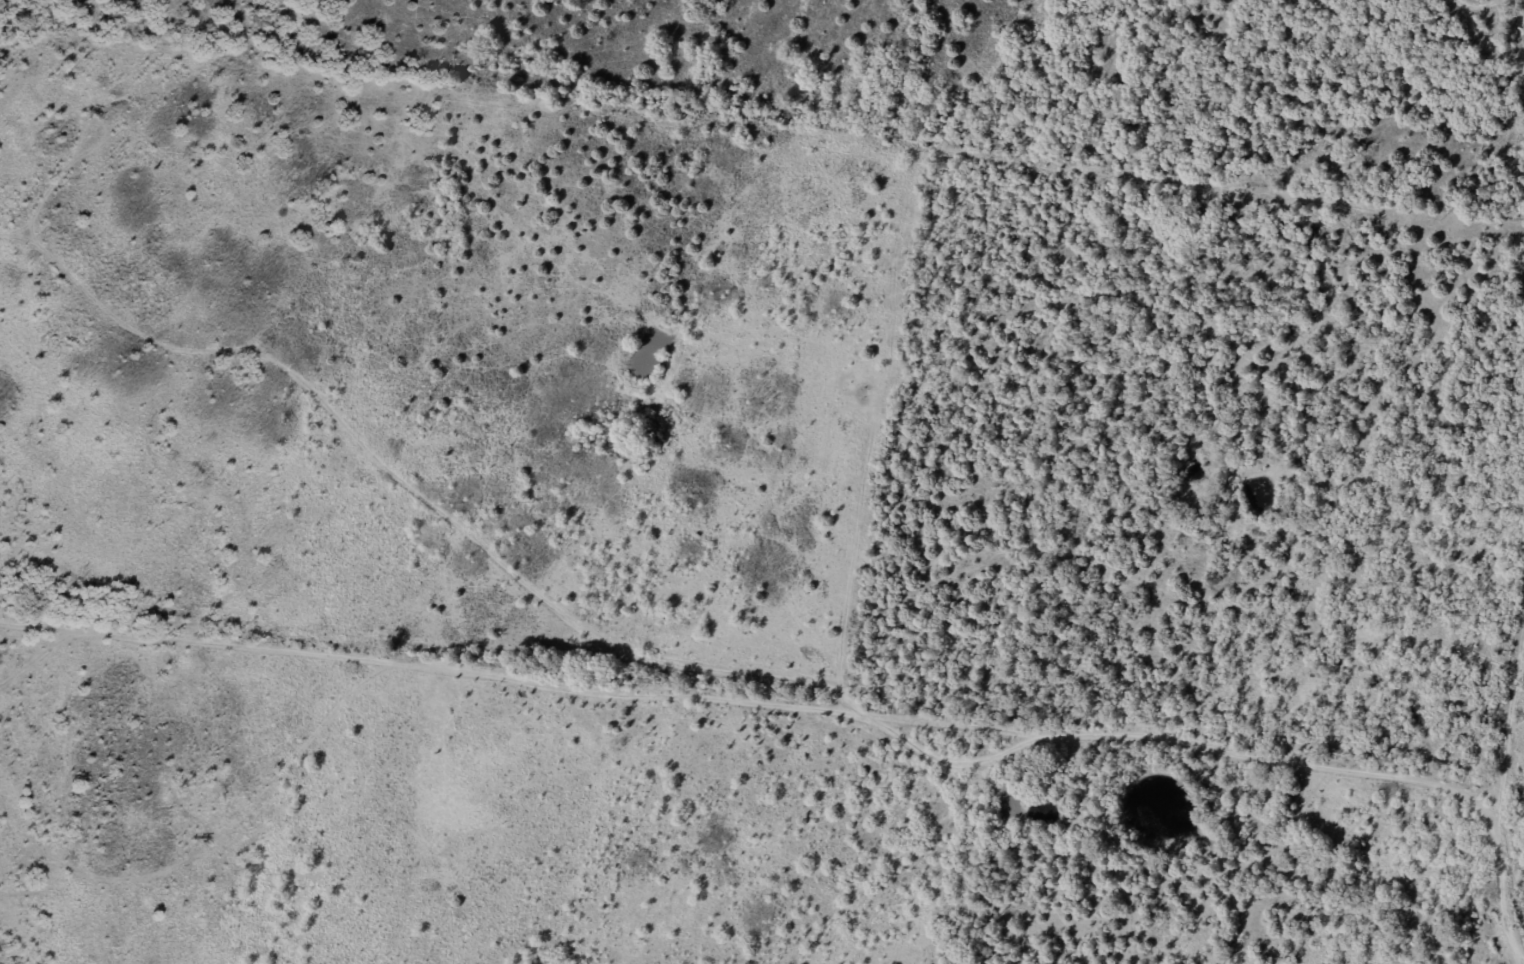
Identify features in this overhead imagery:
road: (814, 700)
road: (1513, 762)

